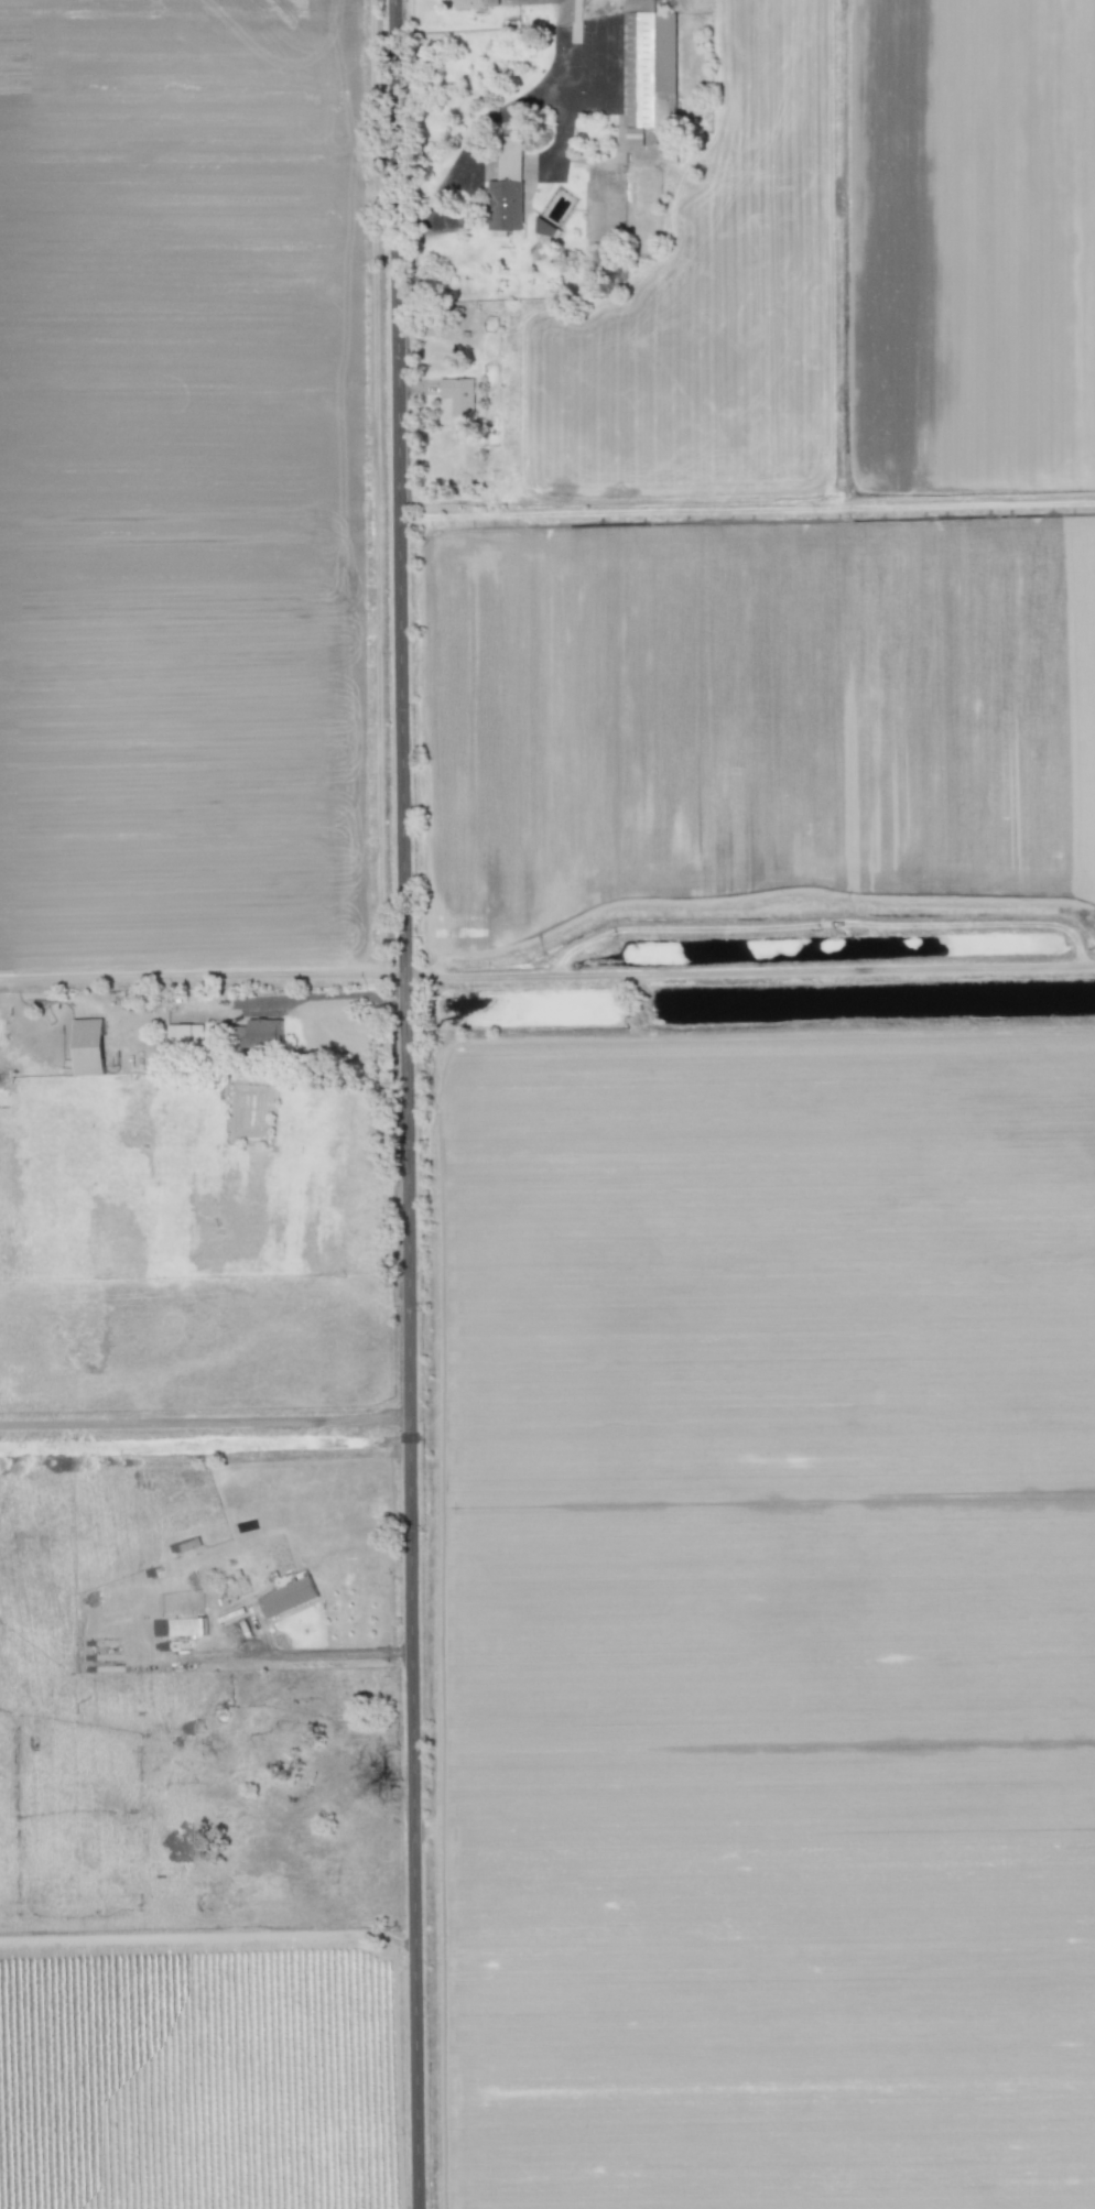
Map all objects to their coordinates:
building: (475, 3)
building: (649, 72)
road: (498, 116)
building: (669, 154)
building: (507, 187)
building: (544, 230)
building: (458, 396)
road: (335, 995)
building: (260, 1034)
building: (184, 1037)
building: (88, 1047)
road: (409, 1104)
road: (206, 1421)
building: (288, 1598)
building: (182, 1628)
road: (327, 1653)
road: (208, 1939)

